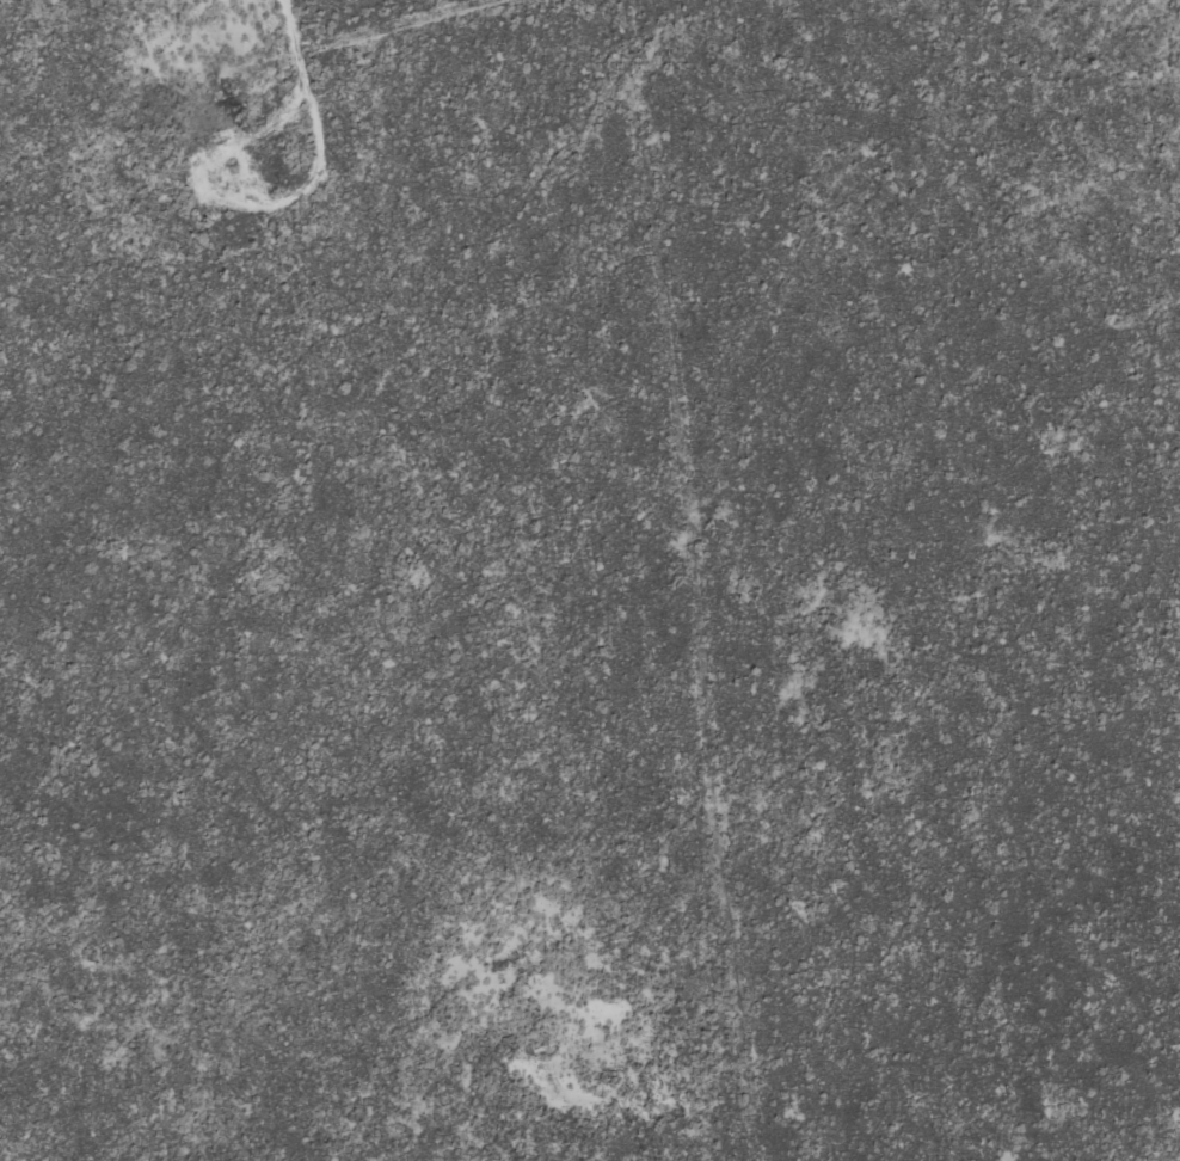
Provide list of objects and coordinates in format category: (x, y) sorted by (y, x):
road: (356, 107)
road: (669, 1113)

